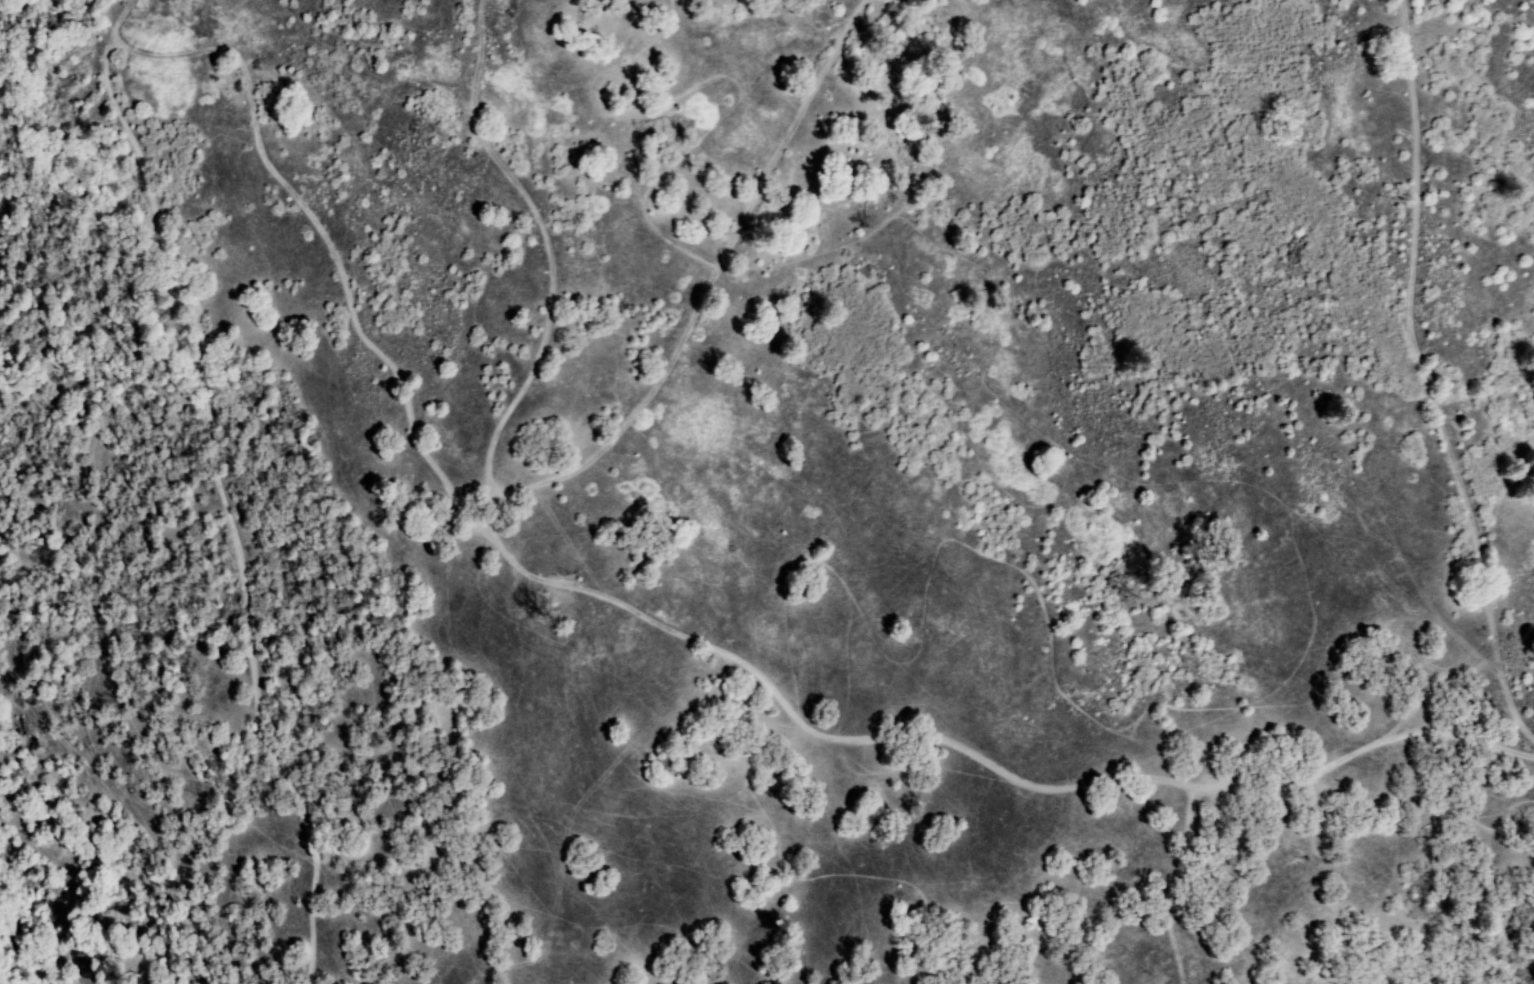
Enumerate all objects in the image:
road: (225, 483)
road: (676, 634)
road: (1353, 753)

